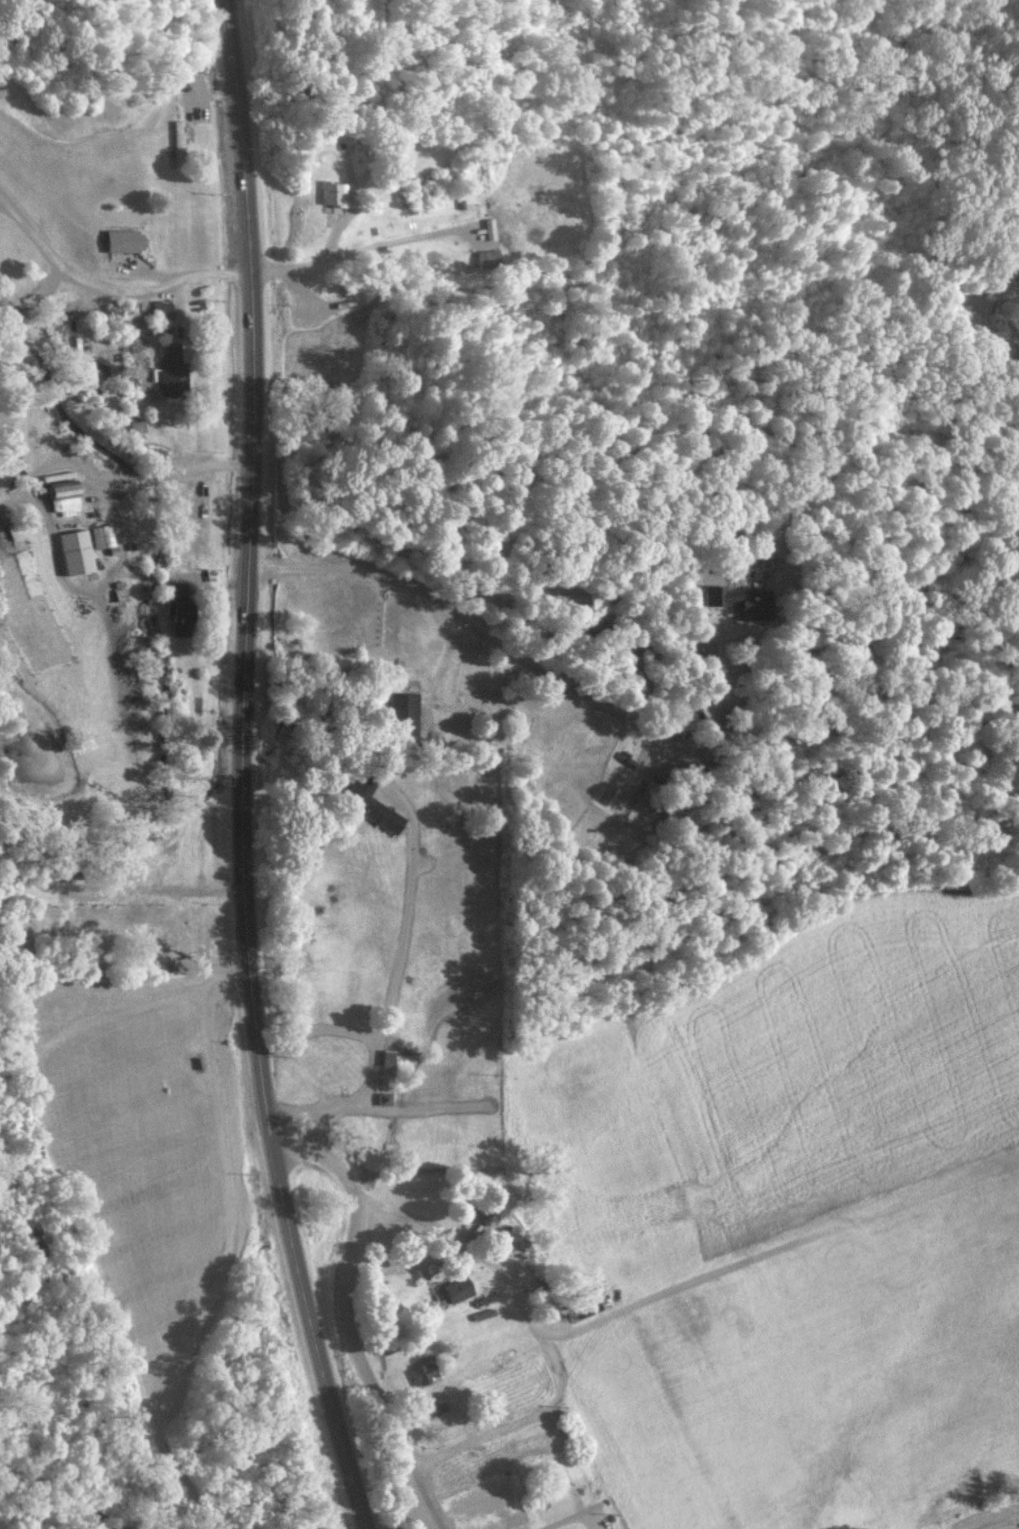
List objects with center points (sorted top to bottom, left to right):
building: (179, 141)
building: (335, 193)
building: (490, 228)
building: (124, 240)
road: (359, 249)
building: (489, 259)
road: (106, 288)
building: (163, 309)
building: (88, 370)
building: (172, 370)
road: (33, 496)
building: (65, 497)
building: (103, 536)
building: (77, 551)
building: (738, 600)
building: (180, 606)
road: (637, 703)
building: (405, 712)
road: (245, 771)
building: (375, 804)
road: (386, 1018)
road: (318, 1029)
building: (388, 1056)
building: (385, 1097)
road: (414, 1214)
road: (234, 1253)
road: (494, 1265)
building: (458, 1288)
road: (346, 1319)
building: (423, 1371)
road: (564, 1520)

